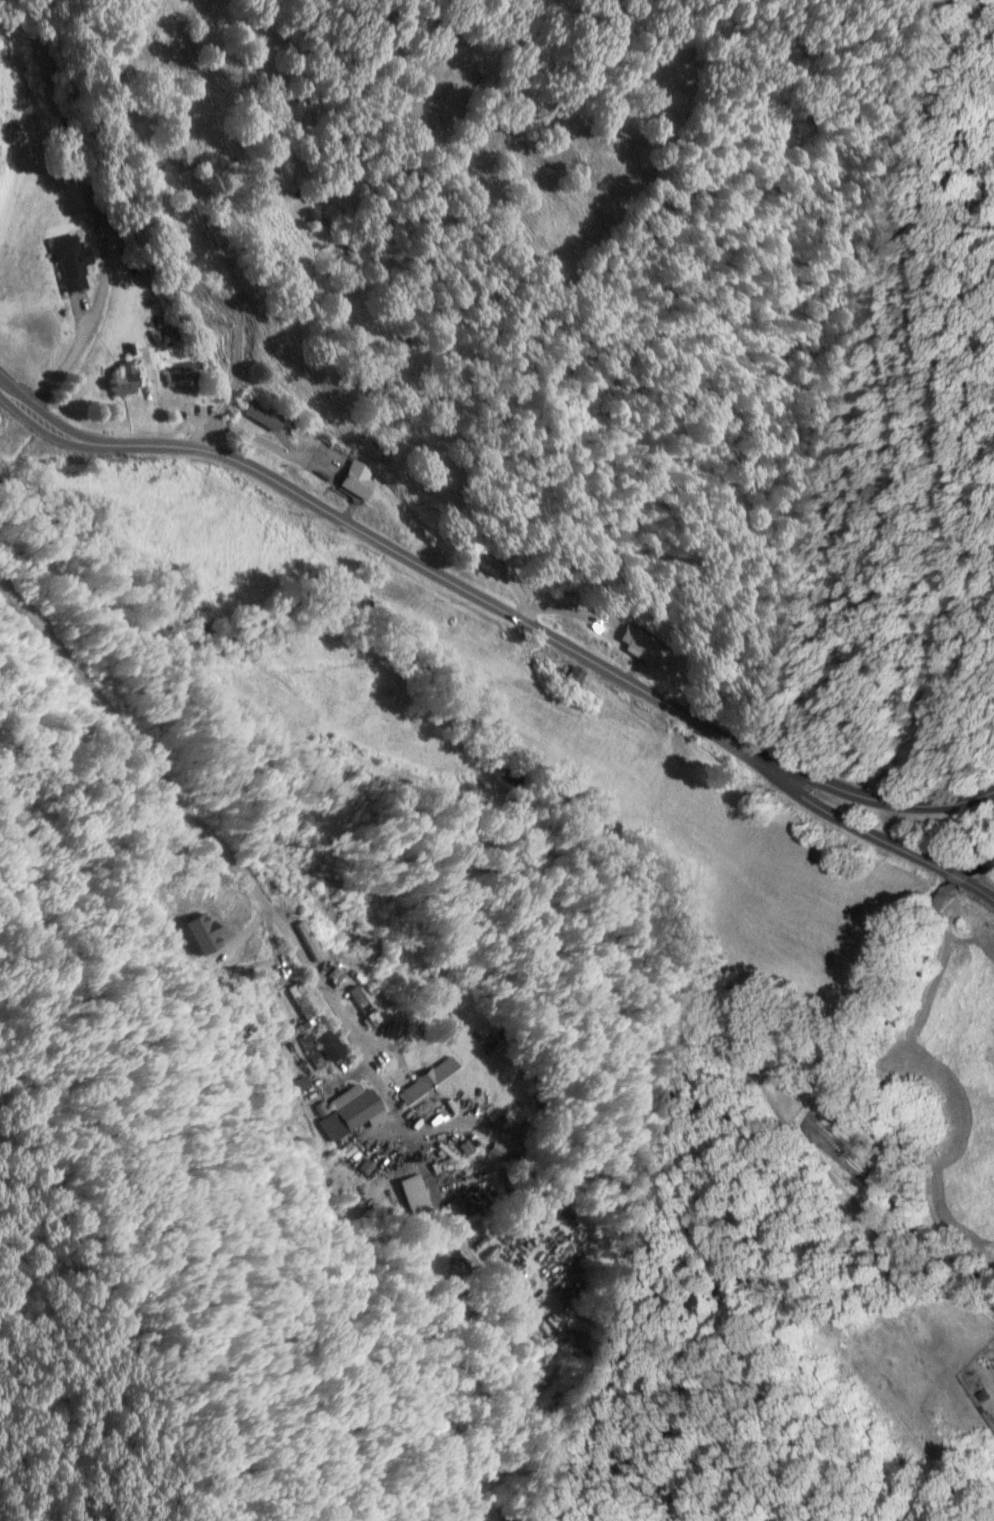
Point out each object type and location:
building: (313, 214)
building: (70, 261)
road: (79, 343)
building: (187, 370)
building: (121, 380)
building: (260, 413)
building: (353, 479)
road: (495, 600)
building: (633, 644)
road: (946, 867)
building: (336, 973)
building: (362, 1003)
building: (322, 1045)
building: (425, 1078)
building: (348, 1110)
building: (416, 1194)

